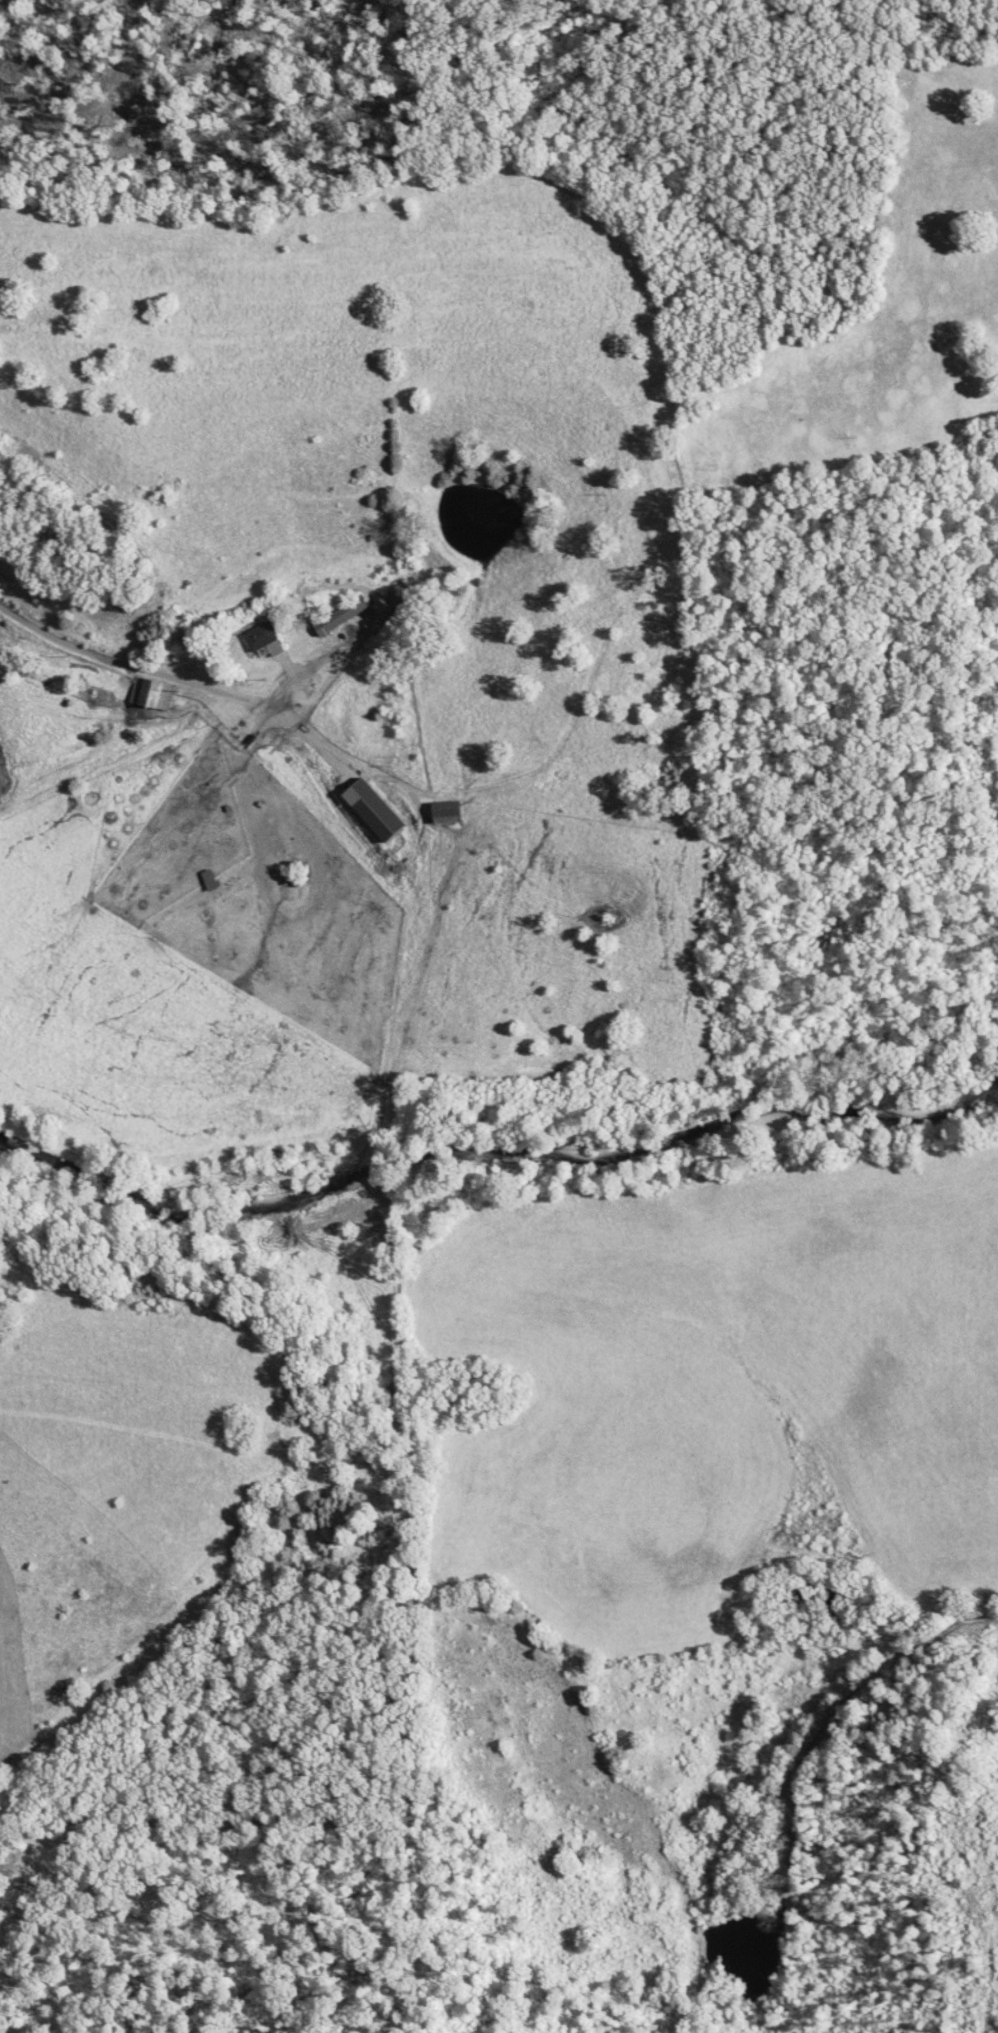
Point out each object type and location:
building: (343, 616)
building: (267, 640)
road: (213, 690)
building: (381, 811)
building: (451, 812)

